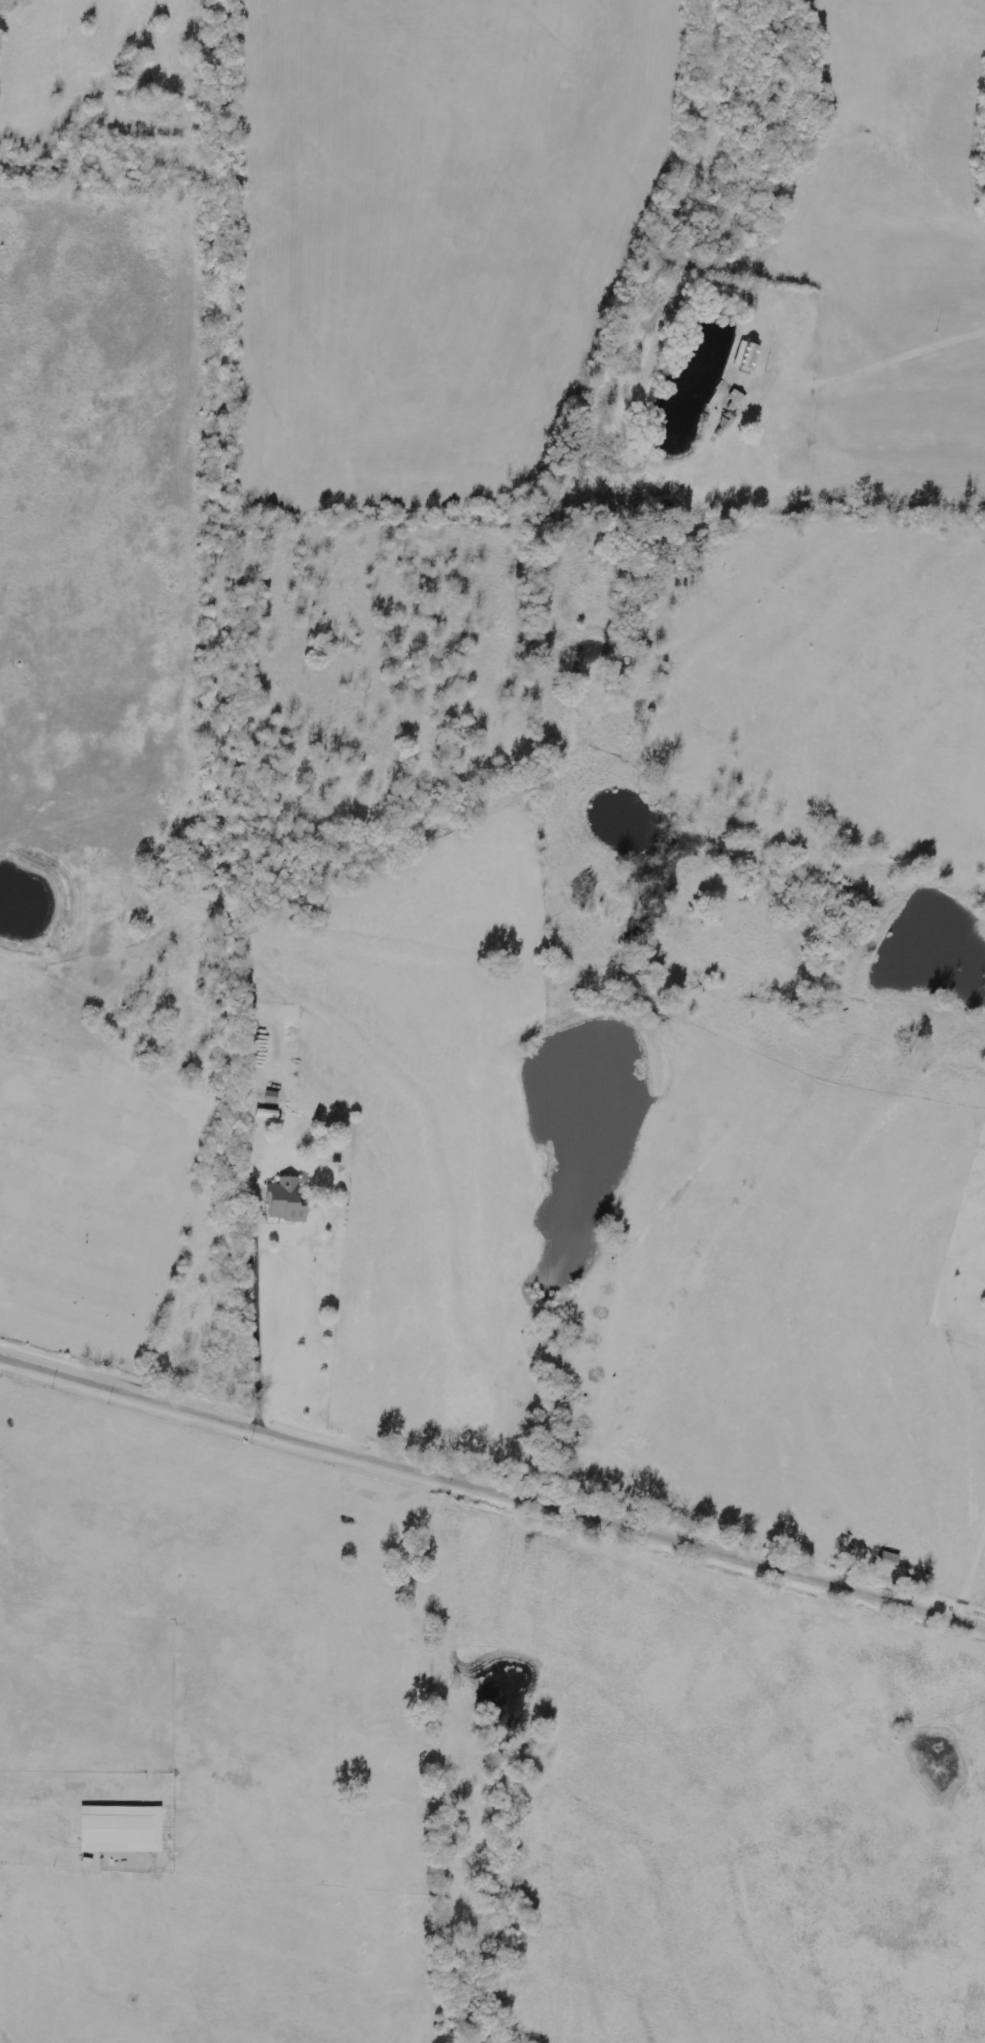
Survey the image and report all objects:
building: (749, 355)
building: (287, 1200)
road: (492, 1493)
road: (969, 1577)
building: (123, 1830)

